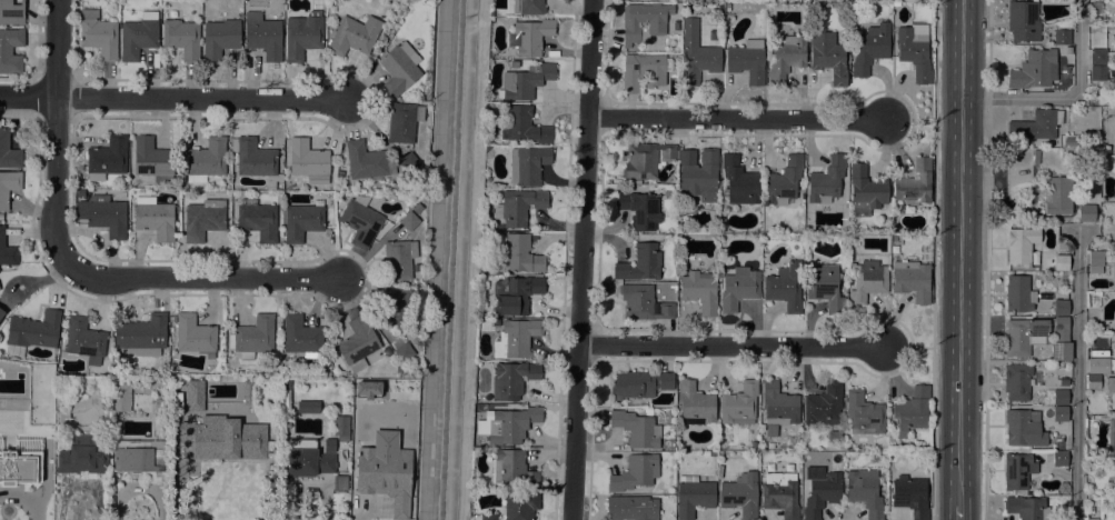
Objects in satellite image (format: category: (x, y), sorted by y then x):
building: (727, 6)
building: (528, 7)
building: (11, 12)
building: (645, 21)
building: (1023, 21)
building: (98, 34)
building: (139, 36)
building: (262, 36)
building: (302, 36)
building: (354, 36)
building: (529, 37)
building: (1062, 37)
building: (181, 38)
building: (220, 39)
building: (870, 48)
building: (1068, 50)
building: (11, 51)
building: (915, 51)
building: (696, 54)
building: (828, 57)
building: (1098, 57)
building: (786, 59)
building: (747, 61)
building: (398, 69)
building: (1034, 70)
building: (644, 71)
building: (1097, 77)
building: (525, 81)
road: (173, 98)
road: (1065, 98)
road: (737, 118)
road: (910, 120)
building: (402, 122)
building: (1036, 126)
building: (524, 127)
road: (56, 137)
building: (1114, 138)
building: (1068, 141)
building: (8, 151)
building: (107, 158)
building: (206, 160)
building: (255, 160)
building: (645, 160)
building: (152, 161)
building: (309, 162)
building: (367, 162)
building: (409, 163)
building: (528, 166)
building: (699, 173)
building: (826, 180)
building: (739, 181)
building: (784, 181)
building: (915, 184)
building: (8, 187)
building: (865, 191)
building: (80, 193)
building: (1057, 194)
building: (519, 207)
building: (417, 209)
building: (639, 210)
building: (1086, 212)
building: (103, 214)
building: (203, 217)
building: (155, 219)
building: (257, 220)
building: (302, 221)
building: (360, 221)
building: (409, 221)
building: (1114, 232)
building: (1018, 247)
building: (7, 251)
road: (960, 251)
building: (520, 254)
road: (932, 259)
building: (399, 260)
road: (472, 260)
road: (580, 260)
road: (986, 260)
building: (1096, 261)
building: (640, 263)
building: (1061, 263)
building: (1113, 270)
building: (912, 280)
road: (208, 281)
building: (867, 281)
building: (1063, 283)
building: (785, 287)
building: (824, 287)
building: (739, 288)
building: (699, 291)
building: (516, 294)
building: (1018, 294)
building: (643, 303)
building: (395, 307)
building: (1061, 307)
building: (1, 313)
building: (0, 319)
building: (172, 319)
building: (495, 322)
building: (1114, 324)
building: (32, 332)
building: (141, 334)
building: (195, 336)
building: (301, 337)
building: (252, 338)
building: (1037, 338)
building: (516, 339)
building: (84, 340)
building: (358, 346)
road: (731, 346)
road: (908, 347)
building: (404, 352)
building: (1099, 363)
building: (51, 368)
road: (1077, 376)
building: (512, 380)
building: (1016, 381)
building: (221, 382)
building: (639, 384)
building: (1111, 390)
building: (248, 392)
building: (121, 396)
building: (195, 396)
building: (1059, 398)
building: (221, 400)
building: (695, 404)
building: (739, 404)
building: (823, 406)
building: (307, 407)
building: (777, 408)
building: (912, 411)
building: (863, 413)
building: (1059, 413)
building: (340, 426)
building: (507, 426)
building: (1023, 428)
building: (636, 429)
building: (834, 436)
building: (203, 438)
building: (1111, 438)
building: (18, 439)
building: (253, 442)
building: (329, 446)
building: (770, 446)
building: (711, 453)
building: (82, 456)
building: (141, 458)
building: (312, 458)
building: (1059, 459)
building: (511, 469)
building: (1017, 470)
building: (634, 473)
building: (385, 477)
building: (1113, 478)
building: (864, 492)
building: (820, 493)
building: (740, 494)
building: (780, 494)
building: (910, 496)
building: (694, 497)
building: (520, 506)
building: (1092, 506)
building: (631, 508)
building: (1026, 508)
road: (959, 511)
building: (485, 516)
building: (1092, 519)

